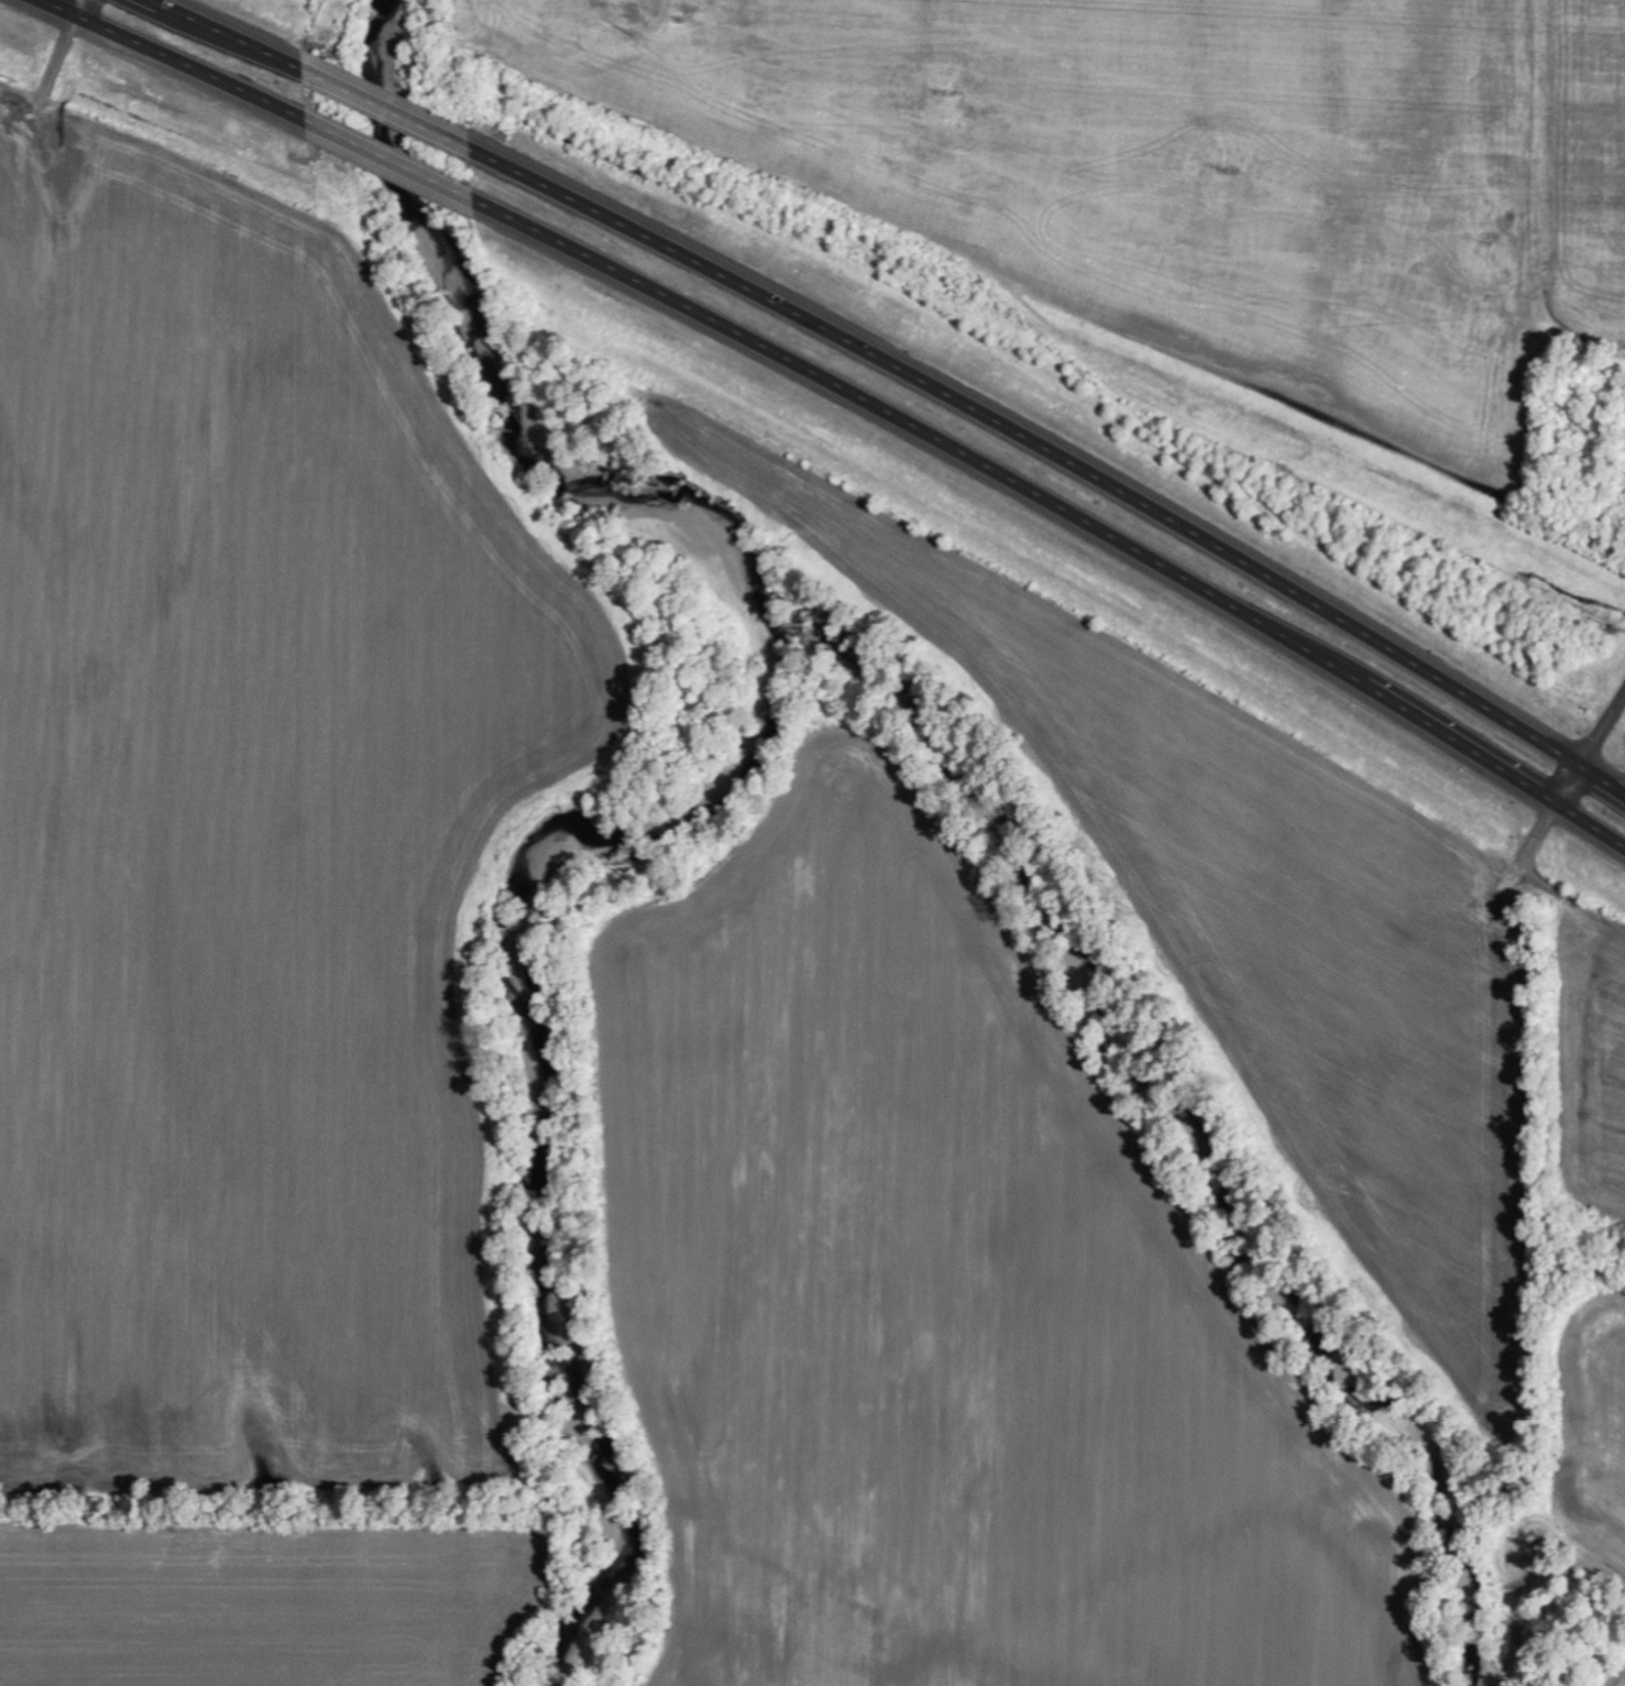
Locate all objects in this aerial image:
road: (76, 9)
road: (227, 35)
road: (172, 59)
road: (391, 110)
road: (394, 160)
road: (1059, 455)
road: (1062, 502)
road: (1589, 751)
road: (1589, 1561)

